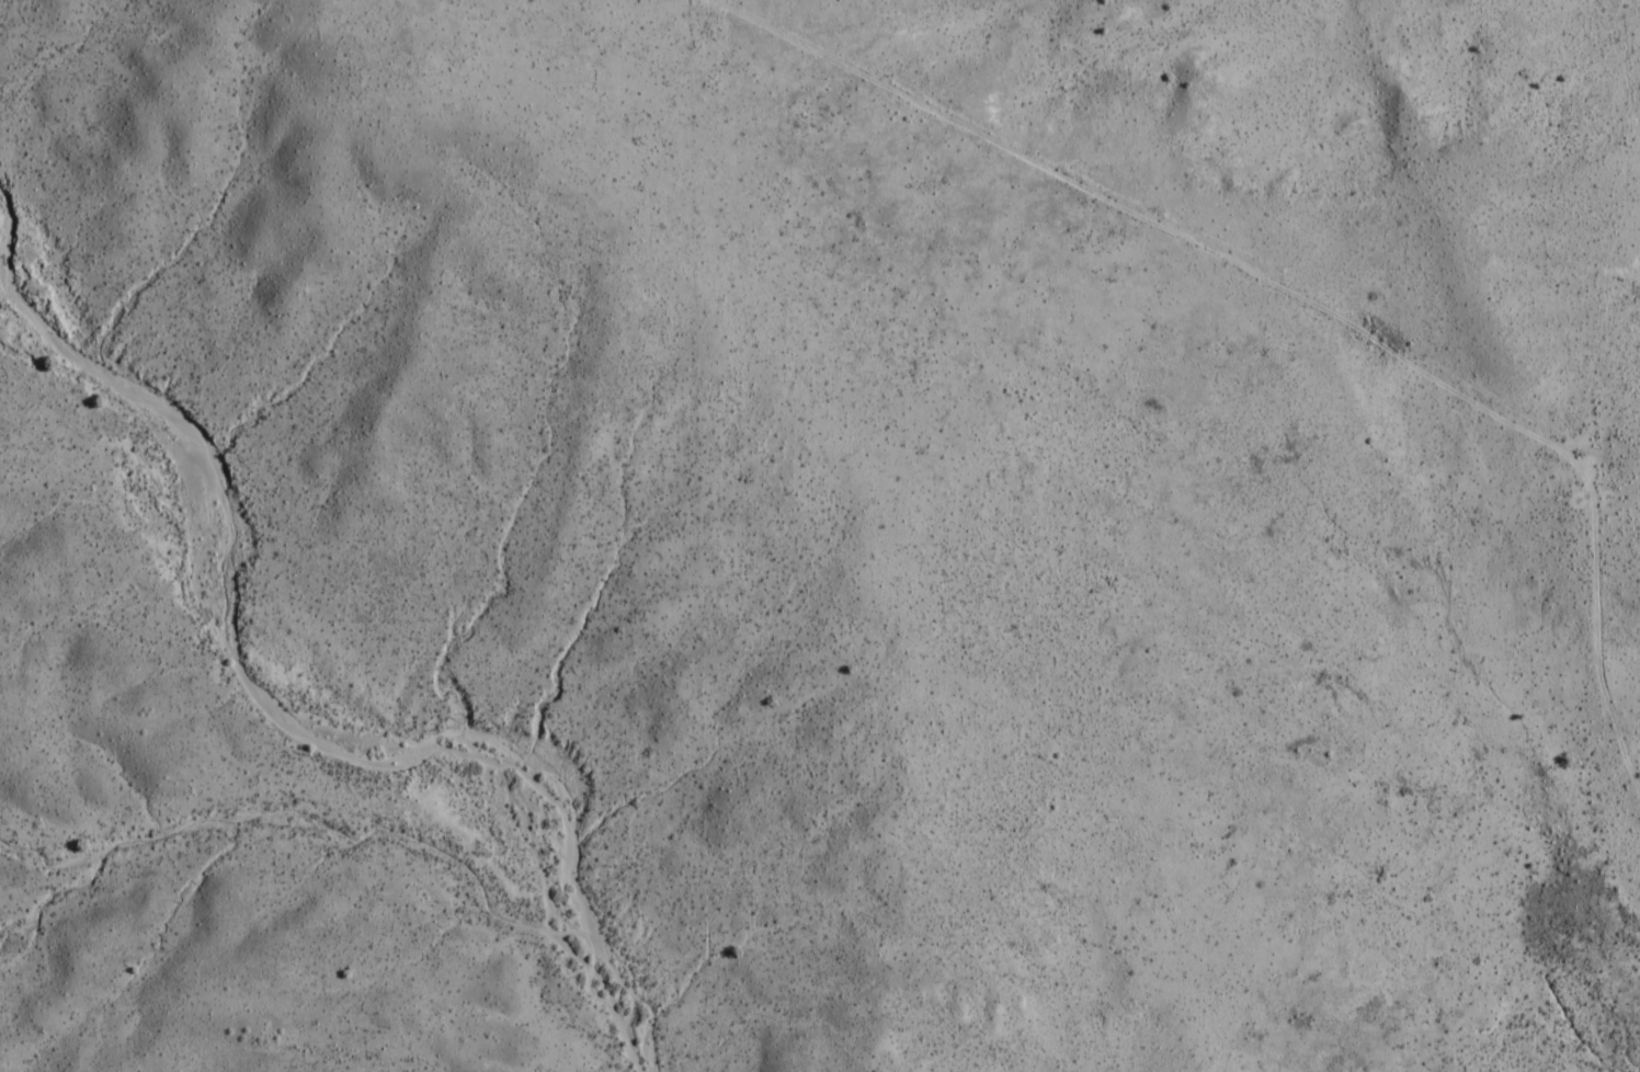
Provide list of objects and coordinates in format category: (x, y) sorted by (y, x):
road: (1598, 683)

